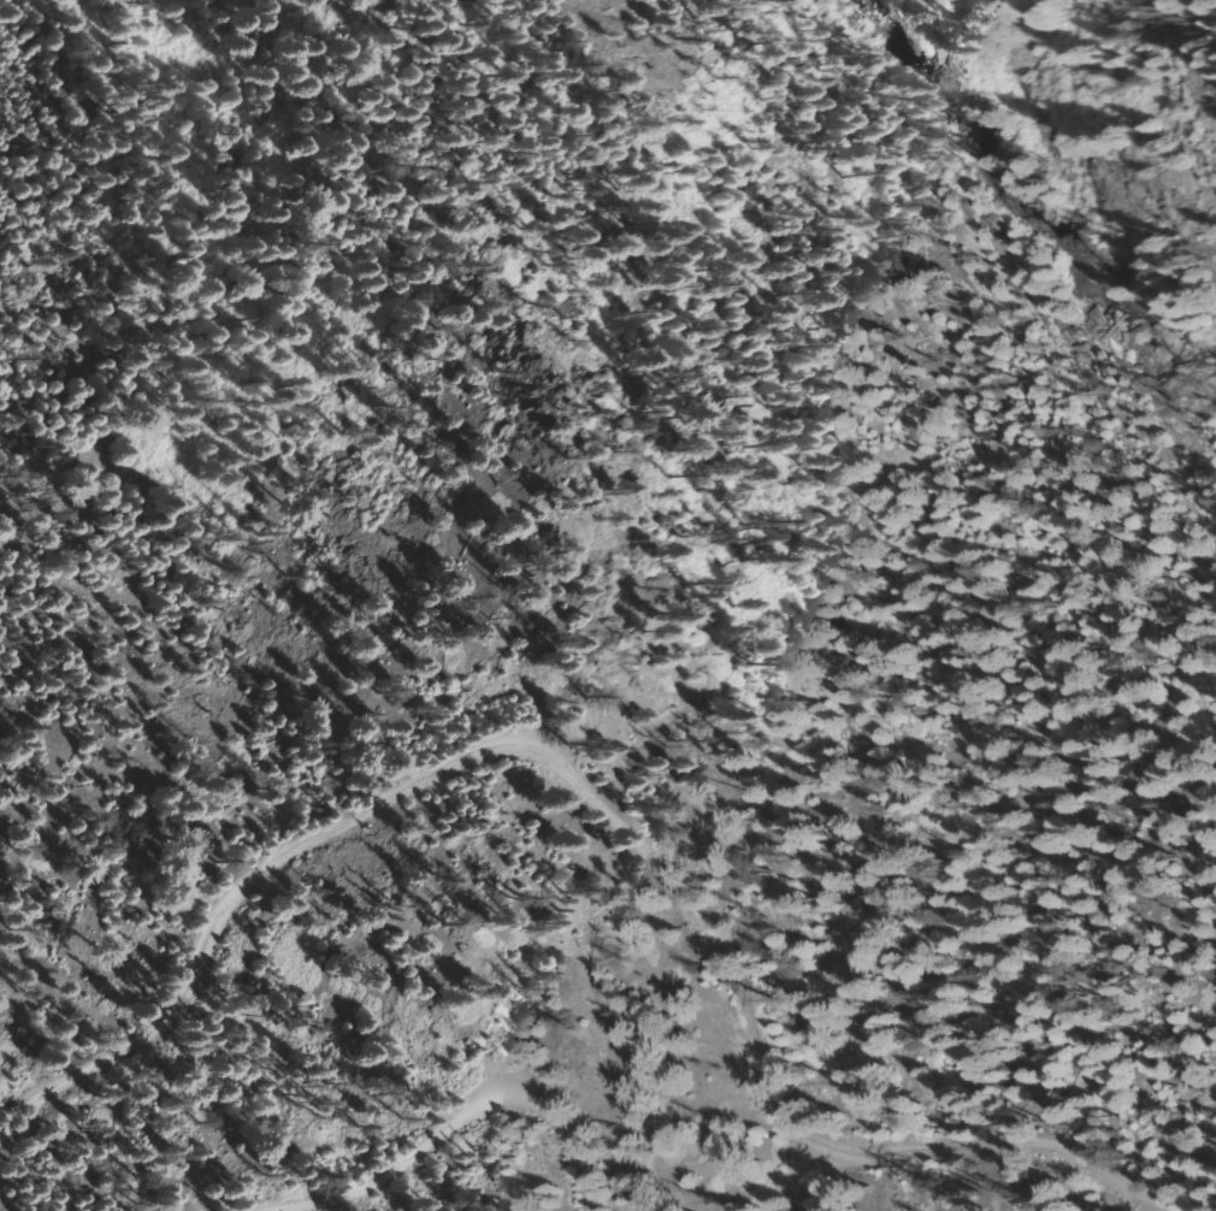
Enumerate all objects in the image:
road: (598, 815)
road: (468, 1107)

